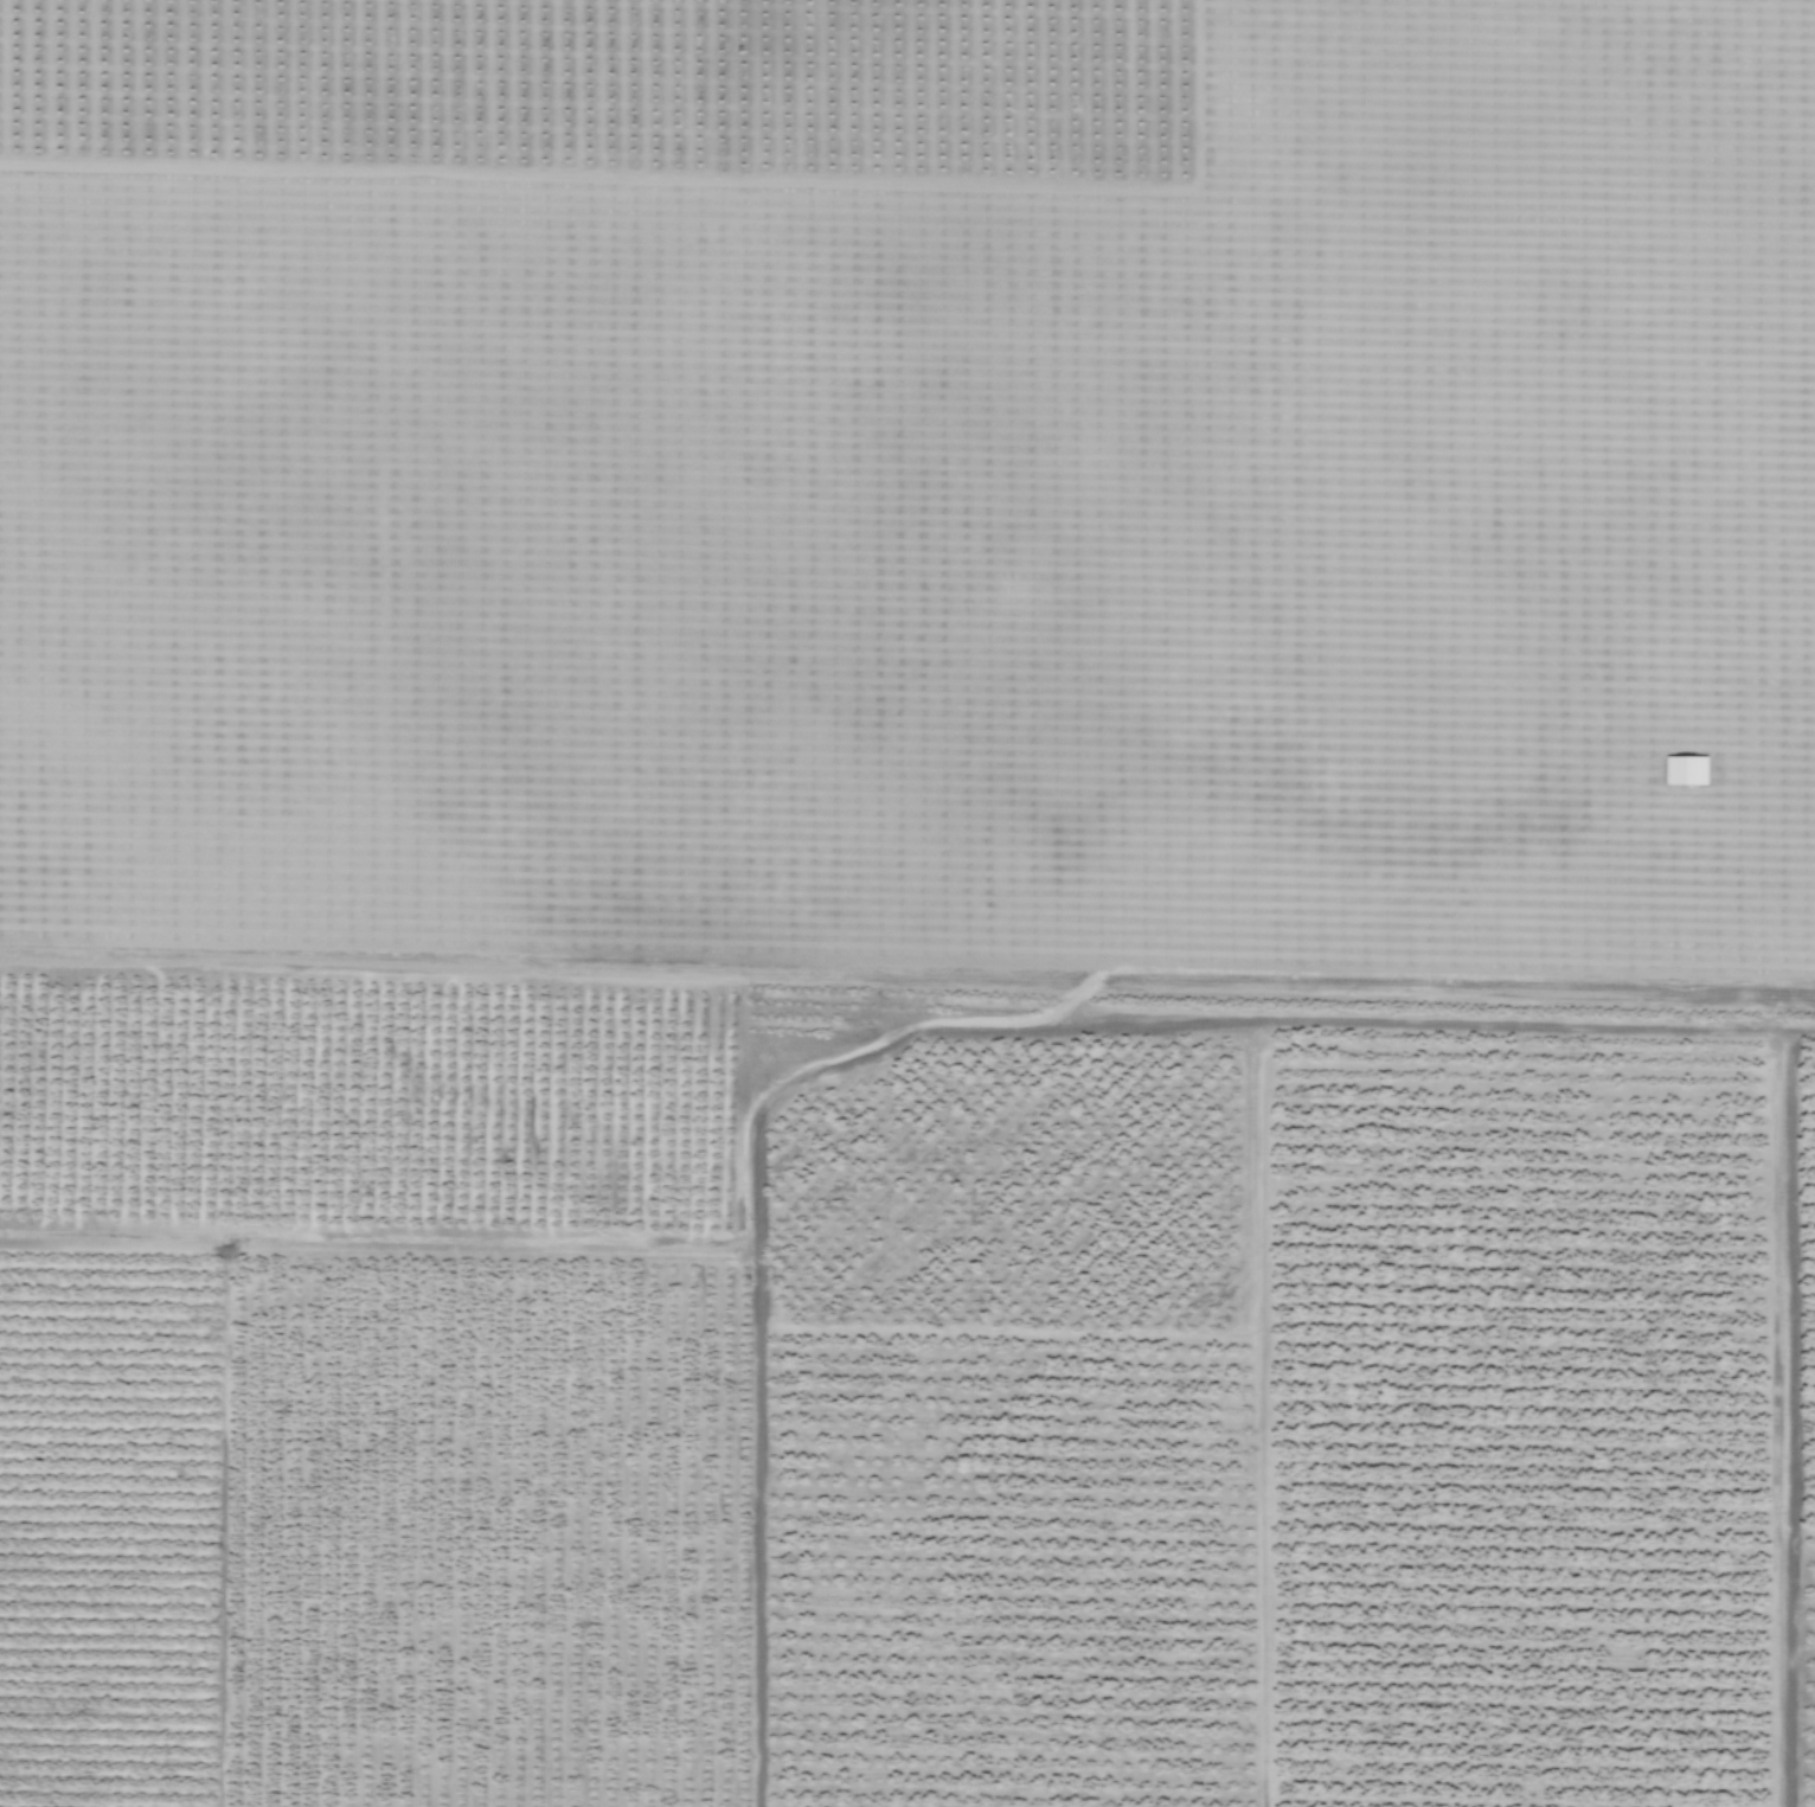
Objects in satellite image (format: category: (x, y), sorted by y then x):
building: (1683, 770)
road: (1785, 1428)

